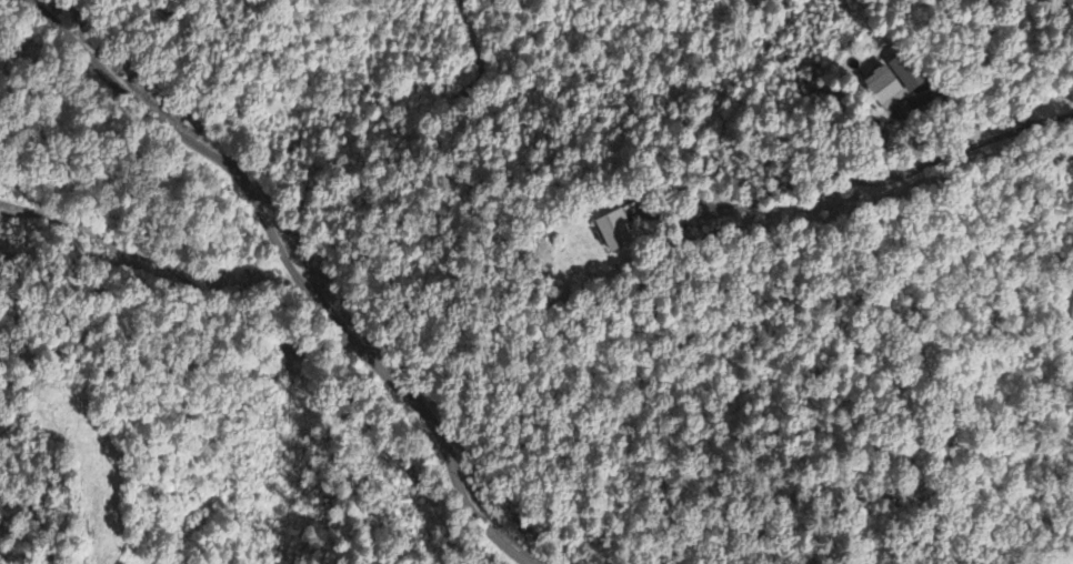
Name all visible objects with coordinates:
building: (881, 90)
building: (613, 232)
road: (1057, 313)

